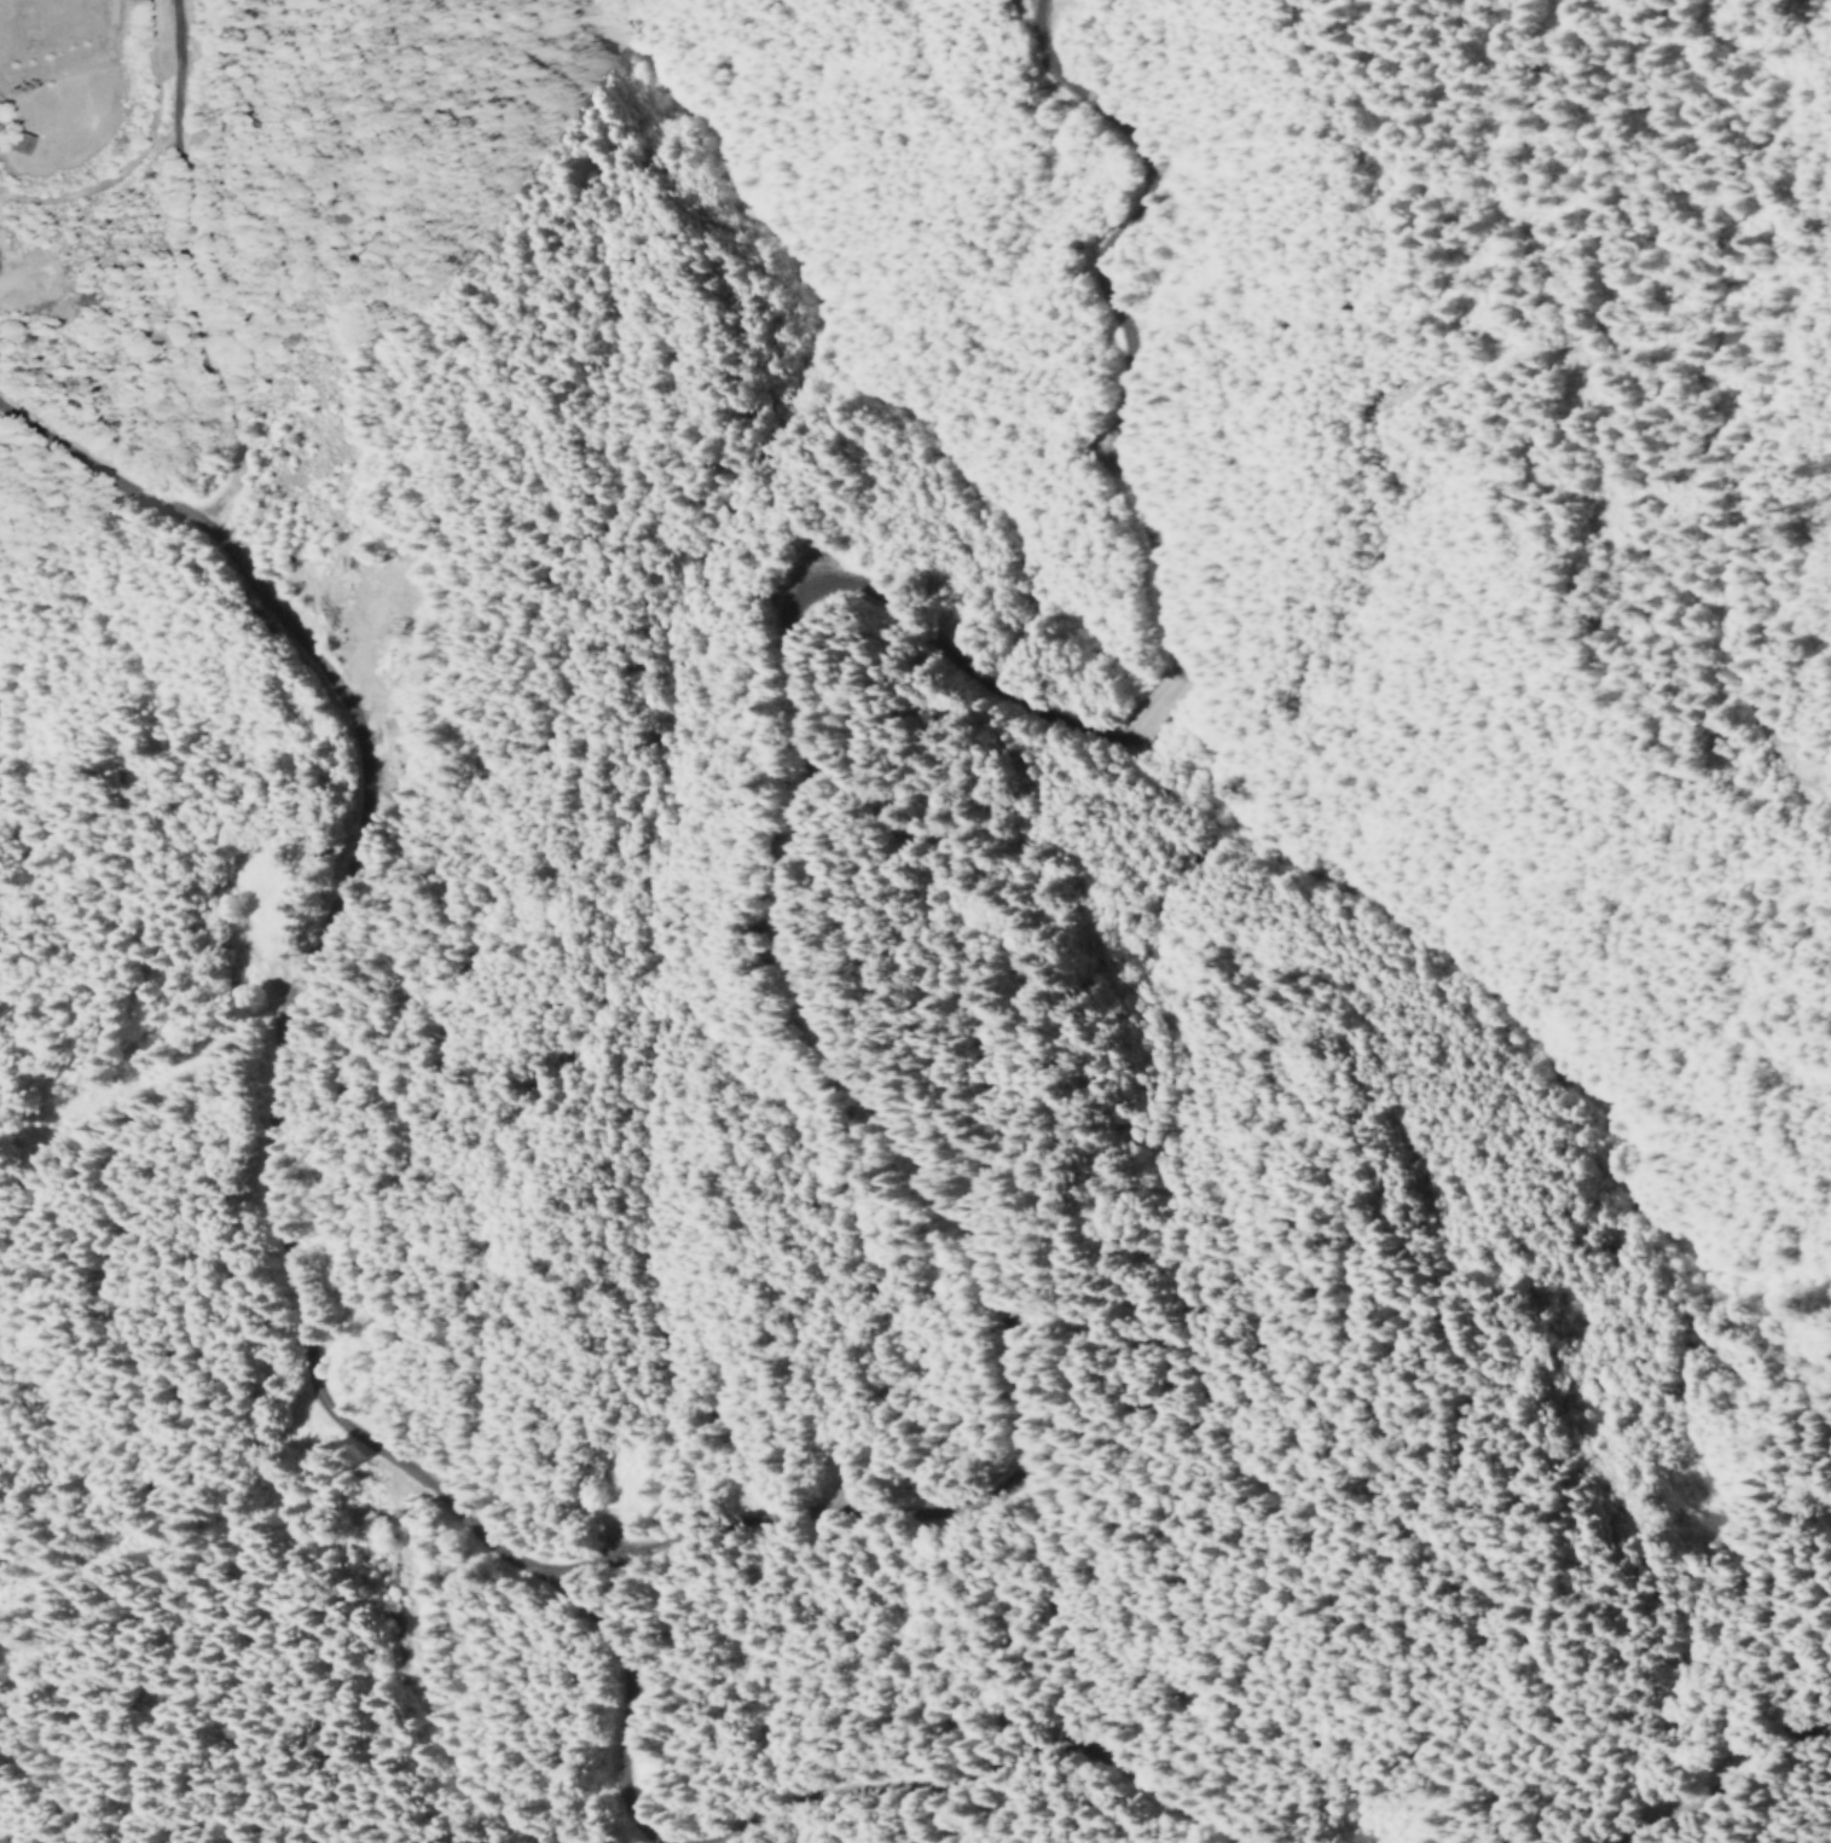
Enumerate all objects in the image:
road: (1116, 315)
road: (1149, 708)
road: (775, 966)
road: (262, 1120)
road: (997, 1780)

